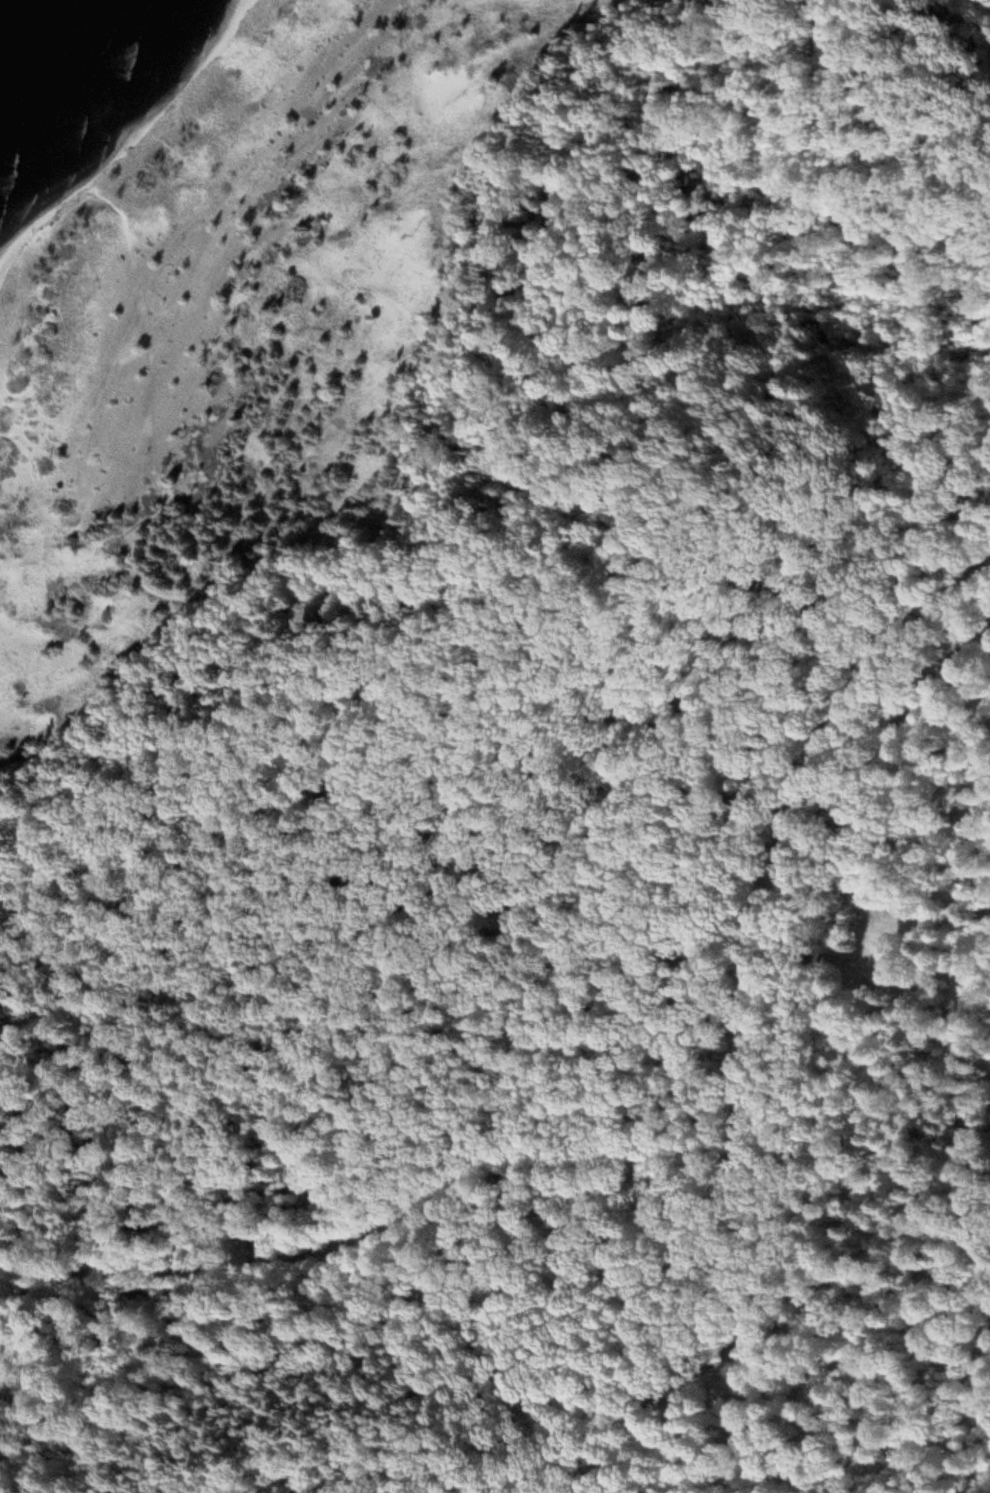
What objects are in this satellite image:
road: (800, 1070)
road: (398, 1223)

